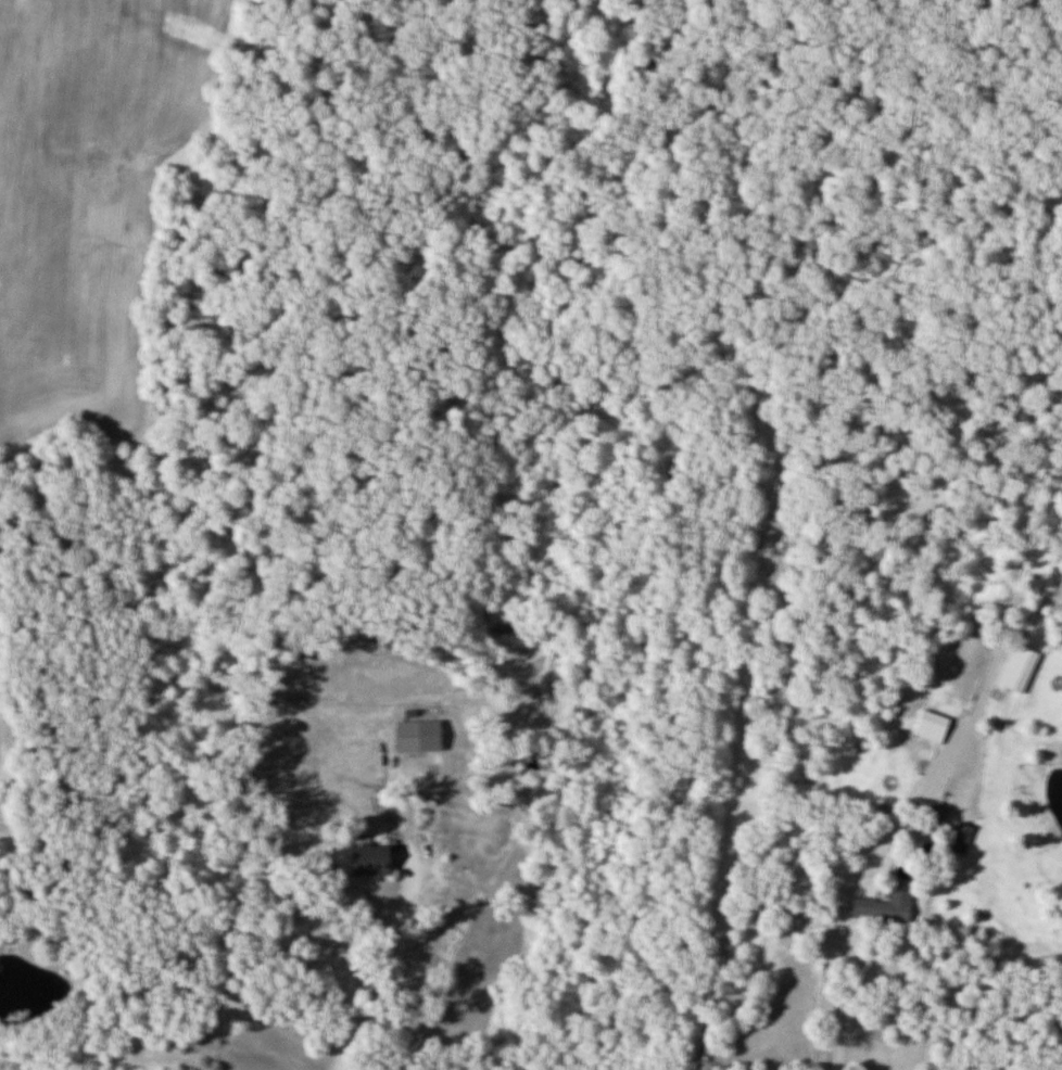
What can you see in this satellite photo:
building: (1022, 667)
building: (936, 726)
building: (963, 836)
building: (378, 861)
building: (888, 907)
road: (374, 926)

